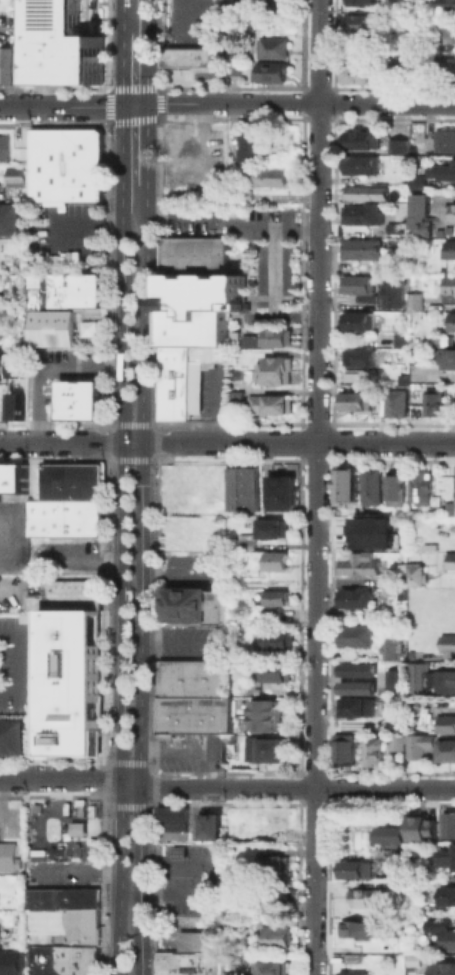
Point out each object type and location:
building: (360, 1)
building: (447, 3)
parking lot: (263, 5)
road: (122, 15)
parking lot: (182, 18)
road: (223, 21)
building: (356, 22)
building: (450, 30)
road: (214, 41)
building: (69, 45)
road: (146, 51)
building: (275, 52)
building: (187, 56)
building: (7, 62)
building: (393, 62)
building: (233, 63)
road: (121, 67)
building: (453, 69)
building: (355, 72)
building: (270, 76)
traffic signals: (146, 104)
road: (300, 104)
traffic signals: (121, 106)
road: (73, 107)
building: (362, 139)
building: (444, 139)
road: (146, 143)
building: (249, 145)
building: (398, 145)
building: (3, 147)
building: (358, 162)
building: (65, 163)
building: (441, 170)
building: (14, 176)
building: (268, 176)
building: (416, 181)
building: (365, 191)
building: (0, 196)
building: (448, 211)
building: (361, 212)
building: (418, 214)
building: (10, 224)
road: (102, 224)
road: (232, 226)
building: (392, 227)
parking lot: (64, 234)
road: (52, 241)
building: (360, 248)
building: (449, 248)
building: (192, 254)
building: (73, 281)
building: (168, 284)
building: (357, 284)
building: (448, 285)
road: (270, 293)
building: (392, 295)
building: (32, 297)
building: (72, 298)
building: (414, 300)
building: (204, 312)
building: (358, 320)
building: (451, 320)
building: (50, 326)
building: (169, 327)
building: (276, 336)
building: (398, 339)
building: (247, 341)
building: (230, 352)
building: (358, 356)
building: (447, 357)
building: (0, 363)
building: (272, 363)
road: (42, 364)
building: (355, 374)
building: (271, 375)
building: (178, 382)
building: (78, 383)
building: (77, 393)
building: (353, 400)
building: (432, 401)
building: (394, 402)
building: (270, 403)
building: (78, 408)
road: (70, 443)
road: (123, 443)
road: (298, 443)
building: (13, 476)
building: (70, 483)
building: (345, 484)
building: (454, 484)
building: (370, 485)
building: (242, 487)
road: (316, 487)
building: (420, 487)
building: (394, 489)
building: (281, 493)
building: (449, 508)
building: (63, 518)
building: (269, 527)
building: (373, 532)
parking lot: (12, 535)
building: (244, 544)
parking lot: (62, 554)
building: (450, 559)
building: (274, 560)
building: (357, 564)
parking lot: (194, 573)
building: (415, 573)
road: (140, 578)
building: (392, 578)
building: (235, 580)
building: (63, 594)
building: (348, 597)
building: (271, 603)
building: (194, 609)
building: (353, 634)
building: (272, 636)
building: (389, 641)
building: (447, 642)
parking lot: (194, 645)
parking lot: (16, 660)
road: (18, 663)
building: (356, 668)
building: (271, 670)
building: (392, 676)
building: (418, 676)
building: (69, 680)
building: (194, 681)
building: (444, 681)
building: (356, 688)
building: (354, 707)
building: (263, 714)
building: (197, 717)
building: (445, 723)
building: (394, 725)
building: (4, 736)
building: (17, 736)
building: (394, 742)
building: (418, 743)
building: (269, 749)
building: (342, 750)
building: (446, 750)
building: (371, 751)
parking lot: (197, 755)
road: (60, 778)
road: (130, 783)
road: (296, 788)
building: (172, 815)
building: (209, 823)
building: (419, 823)
building: (447, 823)
building: (389, 834)
building: (7, 855)
building: (445, 858)
road: (75, 868)
building: (274, 868)
building: (355, 868)
parking lot: (61, 872)
road: (120, 878)
parking lot: (191, 880)
road: (214, 887)
building: (445, 894)
building: (61, 896)
building: (363, 897)
building: (275, 900)
building: (79, 923)
building: (360, 929)
building: (441, 934)
building: (197, 940)
building: (278, 941)
building: (74, 957)
building: (350, 957)
building: (411, 960)
building: (10, 961)
building: (188, 963)
building: (442, 969)
building: (273, 970)
building: (352, 973)

